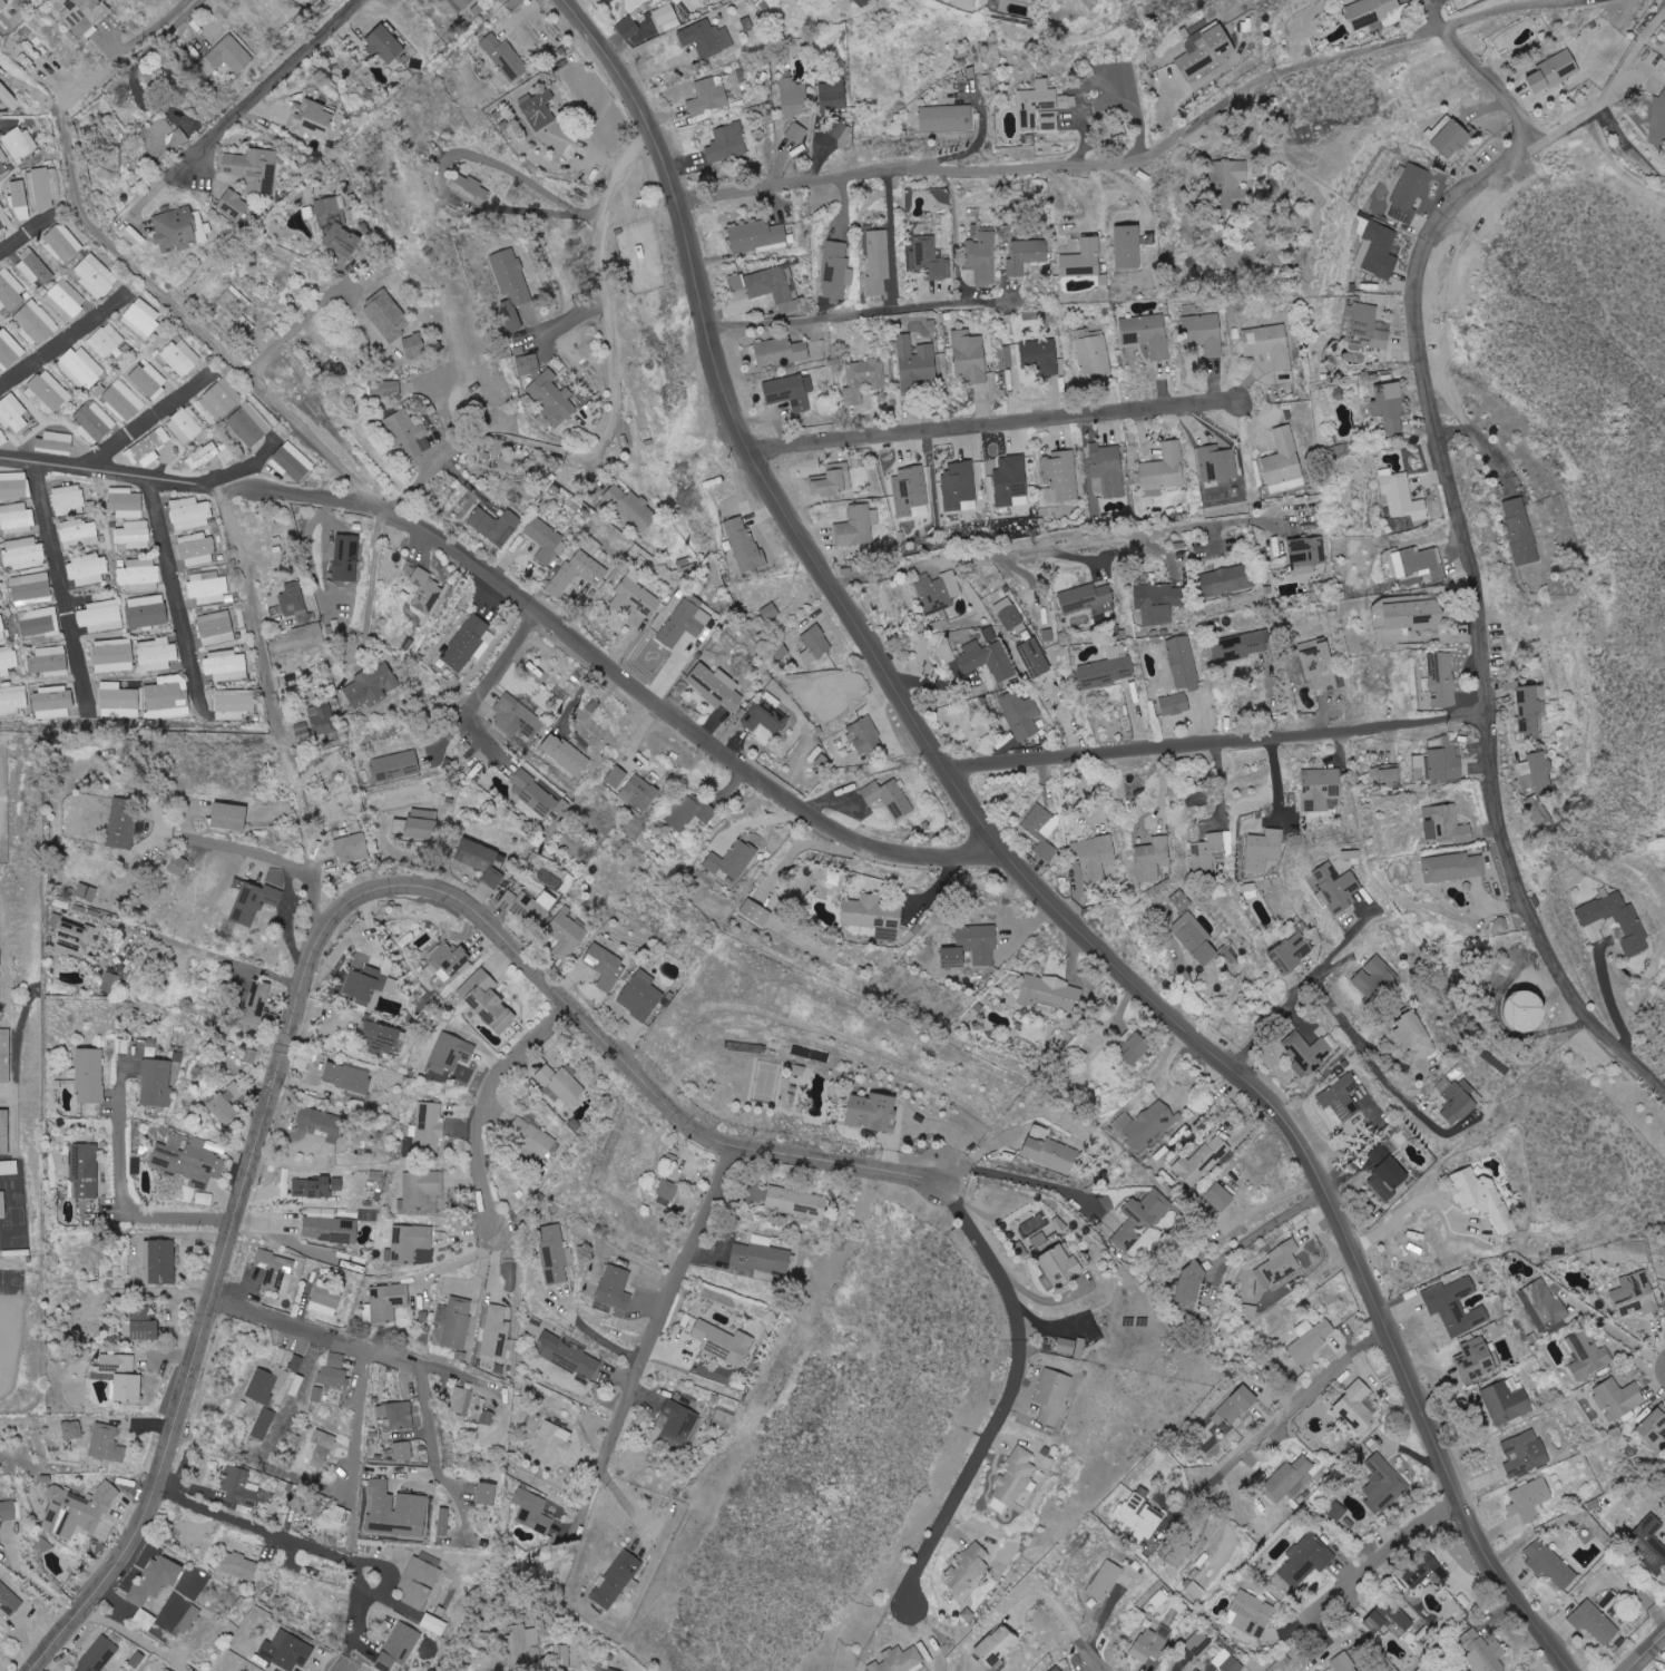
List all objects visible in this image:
building: (862, 2)
building: (3, 3)
building: (461, 3)
building: (1371, 11)
building: (86, 13)
building: (666, 17)
road: (1649, 26)
road: (170, 27)
building: (627, 28)
building: (707, 38)
building: (385, 45)
building: (1206, 50)
building: (226, 56)
building: (506, 57)
building: (1555, 70)
road: (273, 71)
building: (222, 72)
road: (1491, 84)
building: (709, 96)
building: (793, 96)
building: (833, 96)
building: (9, 97)
building: (1042, 106)
building: (538, 109)
building: (947, 117)
building: (313, 118)
building: (1658, 127)
building: (797, 133)
building: (165, 137)
building: (1455, 138)
building: (18, 143)
building: (727, 143)
road: (1140, 158)
building: (2, 162)
building: (258, 168)
road: (441, 184)
building: (43, 186)
building: (470, 188)
building: (1409, 193)
building: (20, 199)
building: (237, 204)
building: (3, 222)
building: (340, 225)
road: (30, 228)
building: (182, 228)
building: (757, 235)
road: (891, 237)
building: (62, 243)
building: (1128, 246)
building: (1377, 248)
building: (1027, 255)
building: (929, 258)
building: (982, 258)
building: (1084, 258)
building: (879, 261)
building: (36, 268)
building: (835, 272)
building: (95, 275)
building: (737, 282)
building: (511, 286)
building: (775, 287)
road: (604, 289)
building: (9, 290)
road: (168, 297)
building: (65, 299)
building: (235, 301)
road: (849, 312)
building: (391, 316)
building: (143, 317)
building: (36, 323)
road: (292, 323)
building: (1367, 326)
building: (1205, 333)
building: (1147, 334)
road: (65, 339)
building: (106, 340)
building: (1269, 344)
building: (415, 346)
building: (9, 349)
building: (782, 351)
building: (970, 355)
building: (1041, 355)
building: (1093, 355)
building: (180, 356)
building: (915, 363)
building: (81, 367)
building: (863, 379)
building: (148, 380)
building: (386, 388)
building: (547, 390)
building: (791, 391)
building: (47, 393)
building: (223, 398)
building: (121, 401)
building: (1390, 407)
road: (444, 408)
building: (13, 413)
road: (150, 418)
building: (94, 422)
building: (186, 424)
building: (249, 424)
road: (989, 428)
building: (409, 434)
building: (2, 438)
building: (55, 443)
road: (1481, 444)
building: (147, 448)
building: (208, 456)
building: (1283, 458)
building: (292, 461)
building: (1217, 463)
road: (102, 467)
building: (1108, 469)
building: (1061, 476)
building: (1010, 479)
building: (832, 480)
road: (417, 481)
building: (14, 485)
building: (959, 487)
road: (247, 488)
building: (910, 489)
building: (1402, 497)
building: (68, 500)
building: (125, 504)
building: (637, 510)
building: (189, 514)
building: (16, 519)
building: (496, 526)
building: (858, 526)
building: (1520, 531)
building: (78, 534)
building: (134, 535)
road: (1462, 539)
building: (546, 540)
building: (744, 544)
building: (197, 549)
road: (1041, 554)
building: (22, 555)
building: (1304, 556)
building: (346, 557)
building: (1420, 564)
building: (1390, 566)
building: (88, 569)
building: (577, 573)
building: (139, 574)
building: (1228, 579)
road: (62, 587)
building: (207, 587)
building: (31, 588)
road: (371, 589)
building: (427, 590)
building: (938, 592)
road: (178, 596)
building: (638, 596)
building: (293, 599)
building: (1088, 600)
building: (1158, 602)
building: (147, 610)
building: (770, 612)
road: (251, 614)
building: (1009, 614)
building: (1416, 615)
building: (101, 616)
building: (685, 622)
building: (41, 624)
building: (1, 627)
building: (216, 628)
building: (989, 634)
building: (469, 643)
building: (815, 645)
building: (1241, 647)
building: (781, 651)
building: (947, 652)
building: (156, 654)
building: (114, 655)
building: (1035, 658)
building: (7, 659)
building: (987, 659)
building: (49, 662)
building: (1183, 664)
building: (226, 665)
building: (1320, 665)
building: (1107, 668)
building: (1444, 680)
road: (488, 682)
road: (636, 683)
building: (371, 686)
building: (716, 686)
building: (167, 697)
building: (118, 701)
building: (52, 703)
building: (234, 703)
building: (1175, 704)
building: (1529, 706)
building: (766, 714)
building: (1021, 714)
building: (517, 717)
building: (323, 720)
building: (303, 731)
building: (865, 736)
road: (1216, 744)
building: (565, 754)
building: (1449, 760)
building: (1424, 761)
building: (395, 765)
building: (1544, 772)
building: (1387, 774)
building: (616, 776)
building: (1320, 789)
building: (639, 792)
building: (532, 793)
building: (890, 798)
building: (689, 813)
building: (231, 817)
building: (124, 823)
building: (419, 824)
building: (1453, 825)
building: (1041, 830)
building: (352, 849)
building: (1264, 849)
road: (249, 851)
building: (1208, 851)
building: (1095, 858)
building: (1153, 859)
building: (732, 860)
building: (482, 861)
building: (179, 866)
building: (1462, 868)
road: (1011, 872)
building: (1315, 883)
building: (1339, 888)
building: (87, 892)
road: (313, 901)
building: (1181, 901)
building: (254, 902)
building: (529, 906)
building: (756, 912)
building: (873, 915)
building: (1623, 921)
building: (0, 924)
building: (567, 935)
building: (75, 938)
building: (1195, 939)
building: (979, 942)
building: (1292, 952)
road: (219, 955)
building: (954, 957)
building: (0, 959)
road: (307, 961)
building: (449, 961)
building: (606, 967)
building: (0, 978)
building: (1374, 978)
building: (110, 981)
building: (370, 987)
building: (1051, 994)
building: (641, 995)
building: (488, 1000)
road: (1616, 1001)
building: (257, 1003)
road: (1320, 1004)
building: (1532, 1014)
storage tank: (1532, 1014)
building: (1416, 1037)
building: (384, 1038)
building: (1135, 1049)
building: (454, 1051)
building: (1306, 1053)
building: (248, 1055)
building: (4, 1056)
road: (1364, 1063)
building: (90, 1075)
building: (349, 1079)
building: (157, 1083)
building: (561, 1083)
building: (1341, 1097)
building: (1457, 1100)
building: (226, 1103)
road: (483, 1103)
building: (874, 1111)
building: (1144, 1124)
building: (321, 1125)
building: (430, 1125)
building: (4, 1132)
building: (533, 1136)
building: (1050, 1153)
road: (128, 1154)
building: (1201, 1159)
building: (188, 1160)
building: (1388, 1165)
building: (9, 1167)
building: (86, 1170)
building: (376, 1175)
road: (1018, 1176)
building: (316, 1185)
building: (1381, 1188)
building: (668, 1189)
building: (423, 1191)
building: (1221, 1196)
building: (1483, 1196)
building: (204, 1199)
road: (1410, 1201)
road: (1269, 1202)
building: (795, 1203)
building: (368, 1214)
building: (1140, 1219)
building: (1061, 1223)
road: (1265, 1228)
building: (1041, 1239)
building: (410, 1241)
building: (555, 1253)
building: (160, 1261)
building: (1282, 1262)
building: (1064, 1264)
building: (275, 1271)
building: (1189, 1286)
building: (615, 1291)
building: (1636, 1294)
building: (325, 1298)
building: (388, 1300)
building: (1456, 1306)
building: (1544, 1306)
building: (454, 1321)
building: (144, 1325)
building: (496, 1330)
road: (589, 1330)
road: (654, 1330)
road: (1615, 1330)
building: (1311, 1339)
building: (724, 1342)
building: (1070, 1346)
road: (368, 1348)
building: (1587, 1354)
building: (568, 1357)
building: (1477, 1358)
building: (296, 1362)
building: (334, 1371)
road: (462, 1372)
building: (120, 1375)
building: (266, 1384)
building: (296, 1385)
road: (1010, 1393)
building: (316, 1394)
building: (1052, 1394)
building: (1619, 1397)
building: (461, 1400)
building: (1506, 1401)
building: (1237, 1405)
building: (1358, 1408)
building: (395, 1413)
building: (724, 1418)
building: (264, 1423)
road: (1274, 1423)
building: (678, 1424)
building: (1654, 1427)
building: (71, 1430)
building: (107, 1443)
building: (550, 1445)
building: (322, 1447)
building: (403, 1450)
building: (1525, 1453)
road: (302, 1476)
building: (1289, 1477)
building: (1013, 1478)
building: (239, 1486)
building: (1385, 1487)
building: (487, 1496)
building: (1530, 1499)
building: (304, 1503)
building: (78, 1509)
building: (7, 1511)
building: (396, 1511)
building: (533, 1511)
building: (1336, 1511)
building: (339, 1518)
building: (1140, 1519)
building: (443, 1521)
road: (256, 1525)
building: (1586, 1532)
building: (1652, 1542)
building: (1178, 1554)
road: (1382, 1557)
building: (1306, 1558)
building: (1550, 1562)
building: (241, 1565)
building: (969, 1570)
building: (1428, 1572)
building: (1104, 1579)
building: (156, 1580)
building: (618, 1580)
building: (420, 1582)
building: (1194, 1589)
building: (9, 1600)
building: (1250, 1614)
building: (145, 1619)
building: (1389, 1619)
building: (1594, 1622)
building: (433, 1624)
building: (1160, 1630)
road: (134, 1634)
building: (1197, 1642)
building: (1148, 1645)
building: (399, 1646)
building: (523, 1646)
building: (997, 1646)
building: (287, 1651)
building: (1483, 1651)
road: (1646, 1651)
building: (99, 1654)
building: (558, 1658)
building: (138, 1659)
building: (900, 1660)
building: (1227, 1661)
building: (1344, 1662)
road: (1096, 1665)
road: (344, 1668)
building: (165, 1669)
building: (613, 1669)
building: (1057, 1669)
building: (1197, 1670)

